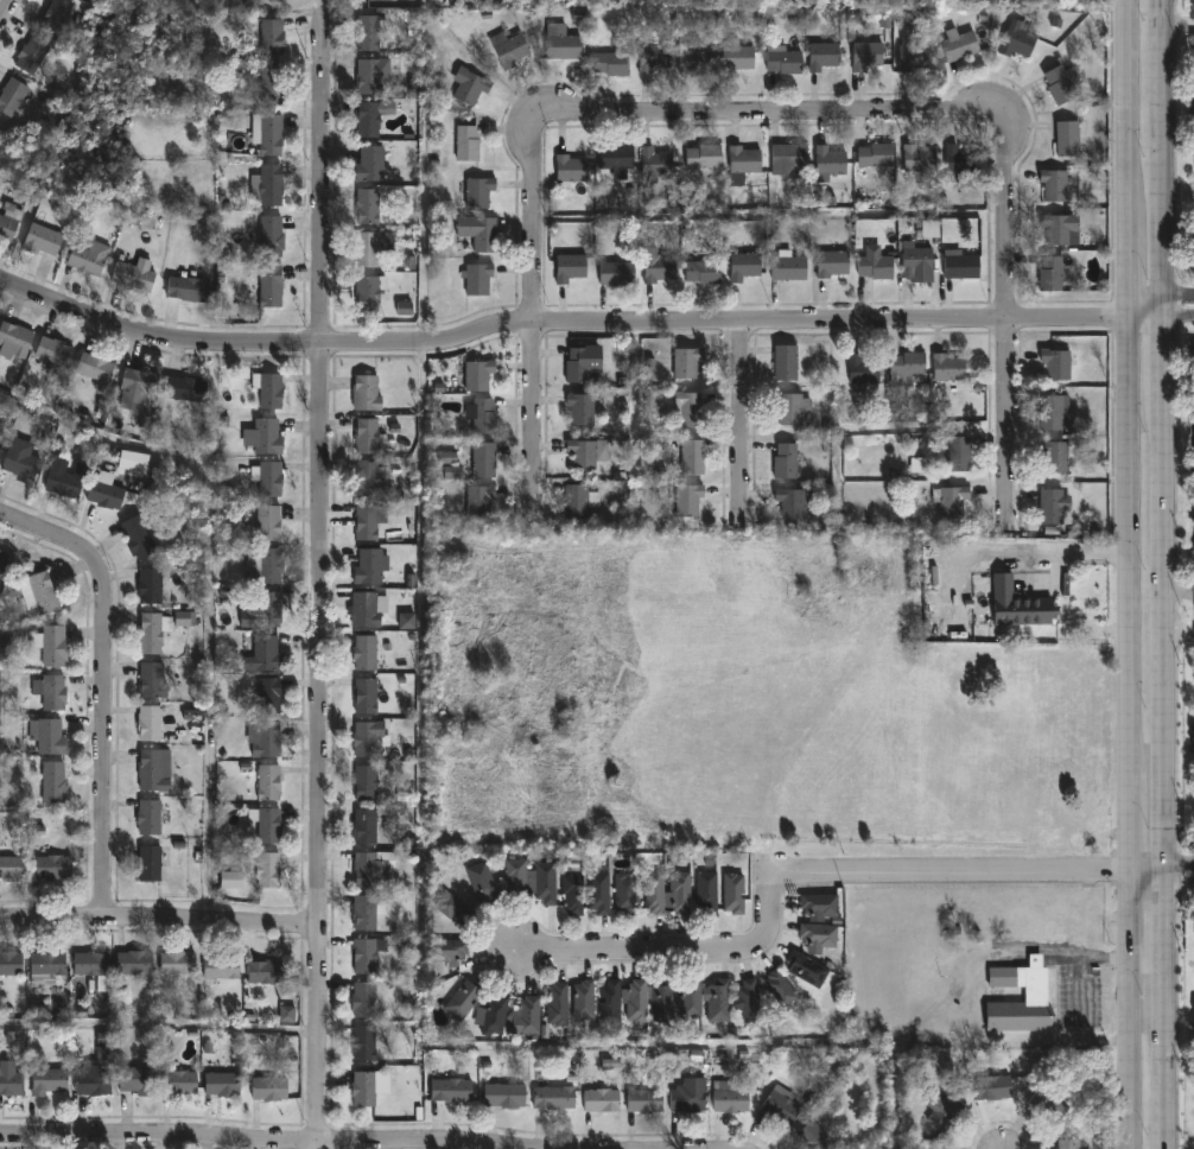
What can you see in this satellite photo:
road: (5, 9)
building: (58, 15)
building: (884, 20)
road: (1176, 24)
building: (367, 32)
building: (267, 36)
building: (1014, 40)
building: (558, 43)
building: (957, 46)
building: (504, 49)
building: (863, 53)
building: (34, 55)
building: (820, 55)
building: (649, 57)
building: (735, 57)
building: (912, 57)
building: (692, 59)
building: (782, 61)
building: (609, 63)
building: (367, 77)
building: (268, 85)
building: (466, 85)
building: (1055, 85)
building: (14, 96)
road: (1125, 100)
road: (771, 101)
park: (144, 103)
building: (364, 120)
building: (263, 135)
building: (1065, 138)
building: (464, 144)
building: (700, 157)
building: (786, 157)
building: (872, 159)
building: (917, 159)
building: (612, 160)
building: (739, 160)
building: (826, 160)
building: (958, 161)
building: (653, 163)
building: (367, 164)
building: (567, 171)
building: (1052, 185)
building: (263, 186)
building: (475, 192)
building: (363, 207)
building: (11, 223)
building: (929, 229)
building: (1058, 229)
building: (474, 234)
building: (267, 237)
building: (45, 241)
building: (367, 248)
building: (1193, 253)
building: (91, 256)
road: (1125, 256)
building: (912, 260)
building: (830, 264)
building: (741, 266)
building: (958, 266)
building: (654, 267)
building: (786, 267)
building: (872, 267)
building: (566, 268)
building: (614, 274)
building: (699, 274)
building: (138, 275)
building: (1048, 275)
building: (475, 279)
building: (265, 287)
building: (188, 288)
building: (366, 292)
road: (1157, 296)
building: (404, 309)
road: (534, 310)
road: (1004, 313)
road: (1158, 319)
road: (555, 323)
building: (15, 341)
building: (58, 353)
building: (579, 363)
building: (684, 363)
building: (782, 363)
building: (1054, 363)
building: (904, 366)
building: (945, 368)
building: (99, 370)
building: (859, 373)
building: (475, 375)
building: (140, 385)
building: (265, 388)
building: (182, 389)
building: (362, 393)
building: (578, 408)
building: (787, 410)
building: (688, 411)
building: (1049, 414)
building: (481, 417)
road: (742, 425)
building: (260, 436)
building: (362, 437)
building: (0, 450)
building: (579, 455)
building: (957, 455)
building: (1054, 456)
building: (691, 457)
building: (447, 458)
building: (481, 461)
building: (138, 462)
building: (782, 462)
building: (25, 463)
building: (917, 465)
building: (452, 472)
building: (263, 477)
building: (66, 480)
building: (368, 480)
building: (108, 491)
building: (685, 501)
building: (476, 502)
building: (573, 502)
building: (790, 502)
building: (948, 502)
building: (1050, 507)
building: (263, 522)
building: (366, 522)
road: (1125, 537)
building: (140, 539)
road: (1085, 554)
building: (4, 563)
building: (259, 565)
building: (367, 566)
building: (850, 566)
building: (1006, 569)
road: (1160, 574)
road: (323, 583)
building: (146, 586)
building: (39, 591)
road: (1177, 591)
building: (1023, 608)
building: (265, 609)
building: (364, 609)
road: (1071, 615)
building: (183, 618)
building: (914, 618)
building: (406, 621)
building: (148, 630)
road: (1177, 631)
building: (53, 645)
building: (362, 652)
building: (260, 654)
building: (152, 678)
road: (106, 684)
building: (53, 691)
building: (362, 694)
building: (265, 696)
building: (146, 722)
building: (51, 735)
building: (366, 737)
building: (1193, 737)
building: (261, 738)
building: (1193, 749)
building: (151, 770)
building: (265, 781)
building: (56, 782)
building: (363, 782)
building: (146, 817)
road: (1126, 817)
building: (263, 823)
building: (361, 826)
building: (146, 863)
road: (1176, 864)
building: (56, 866)
building: (13, 868)
building: (370, 868)
building: (265, 869)
road: (795, 875)
road: (1145, 875)
building: (512, 877)
building: (231, 881)
building: (478, 883)
building: (541, 883)
road: (1176, 885)
building: (596, 891)
building: (650, 891)
building: (678, 891)
building: (704, 891)
building: (730, 891)
building: (570, 893)
building: (622, 894)
building: (815, 906)
building: (452, 909)
building: (364, 910)
road: (159, 927)
building: (815, 935)
building: (445, 950)
building: (361, 956)
road: (1088, 957)
building: (12, 963)
building: (90, 963)
building: (131, 963)
building: (173, 963)
building: (51, 967)
building: (218, 967)
building: (804, 969)
building: (261, 971)
building: (777, 990)
building: (1033, 994)
building: (360, 999)
building: (459, 999)
building: (579, 1001)
building: (606, 1001)
building: (634, 1001)
building: (659, 1001)
building: (747, 1001)
building: (686, 1003)
building: (554, 1004)
road: (1128, 1011)
building: (286, 1014)
building: (491, 1014)
building: (526, 1016)
building: (361, 1042)
building: (12, 1080)
building: (133, 1080)
building: (46, 1081)
building: (89, 1081)
building: (174, 1081)
building: (217, 1084)
building: (990, 1085)
building: (266, 1088)
building: (360, 1088)
building: (449, 1090)
building: (501, 1096)
building: (686, 1096)
building: (551, 1098)
building: (597, 1100)
building: (641, 1100)
building: (729, 1100)
building: (1046, 1104)
building: (777, 1107)
building: (940, 1111)
building: (812, 1137)
road: (267, 1140)
building: (1066, 1144)

